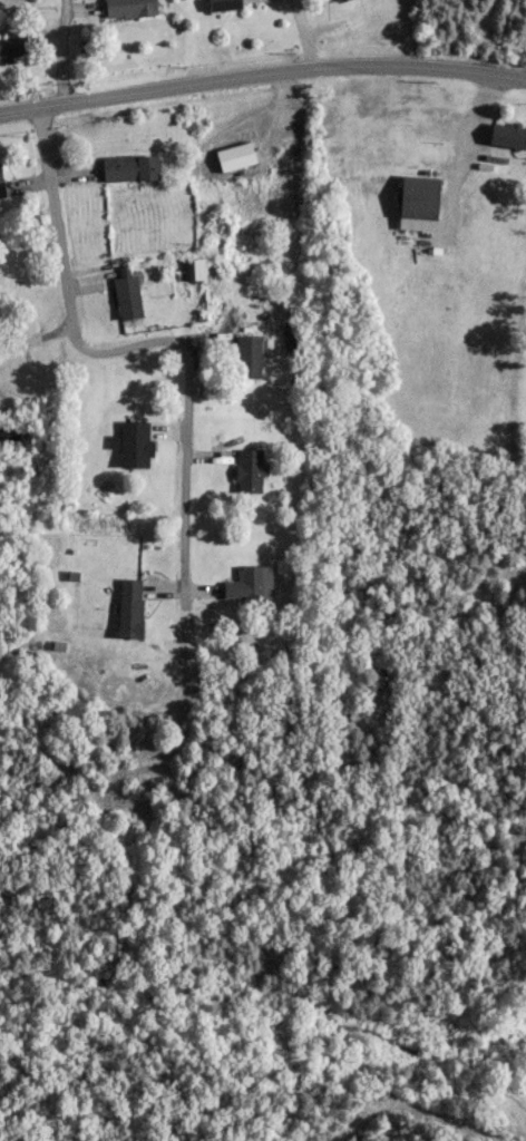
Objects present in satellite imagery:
building: (339, 0)
building: (224, 4)
building: (128, 8)
building: (13, 45)
road: (65, 51)
road: (262, 74)
building: (507, 134)
building: (130, 165)
building: (1, 178)
building: (419, 198)
building: (127, 295)
road: (35, 338)
road: (144, 344)
building: (249, 355)
building: (133, 442)
building: (249, 469)
building: (250, 582)
building: (129, 607)
road: (525, 1119)

